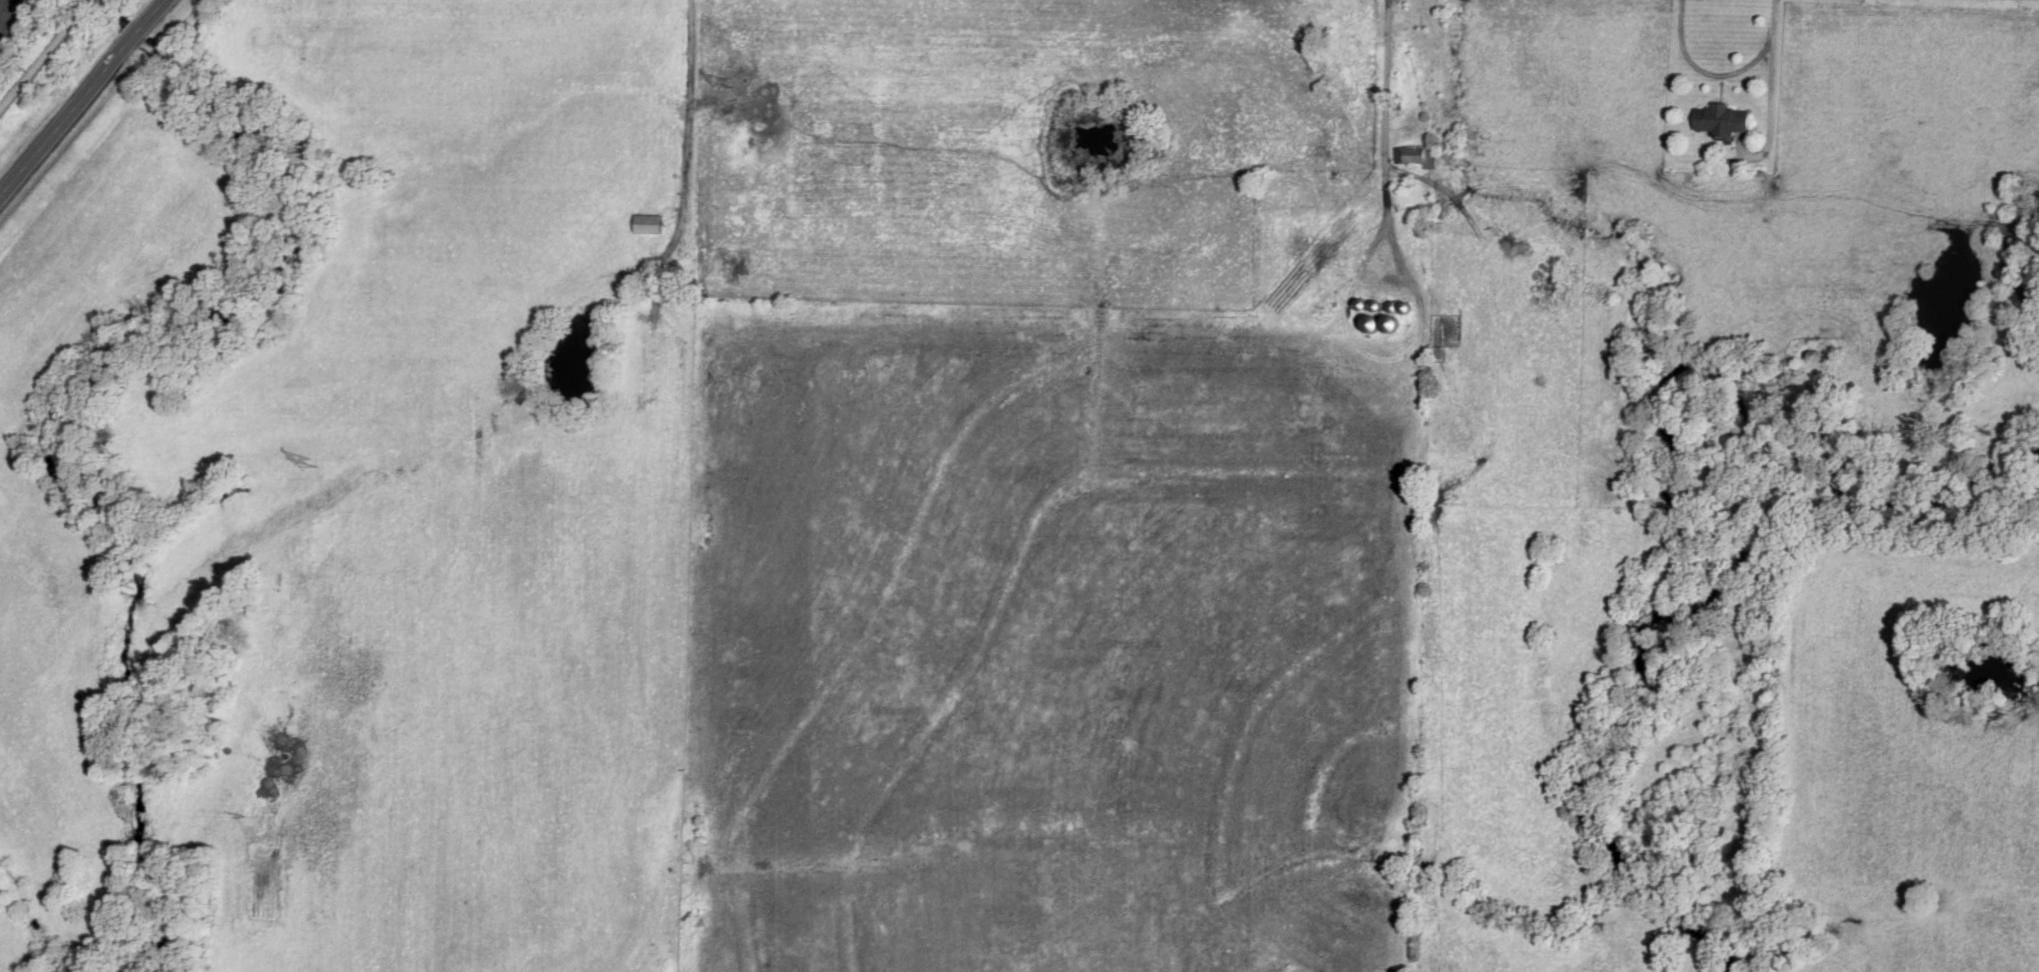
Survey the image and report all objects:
road: (47, 56)
power tower: (732, 85)
road: (83, 99)
building: (1398, 102)
building: (1720, 120)
building: (1416, 155)
building: (653, 222)
power tower: (309, 456)
crop: (1048, 643)

